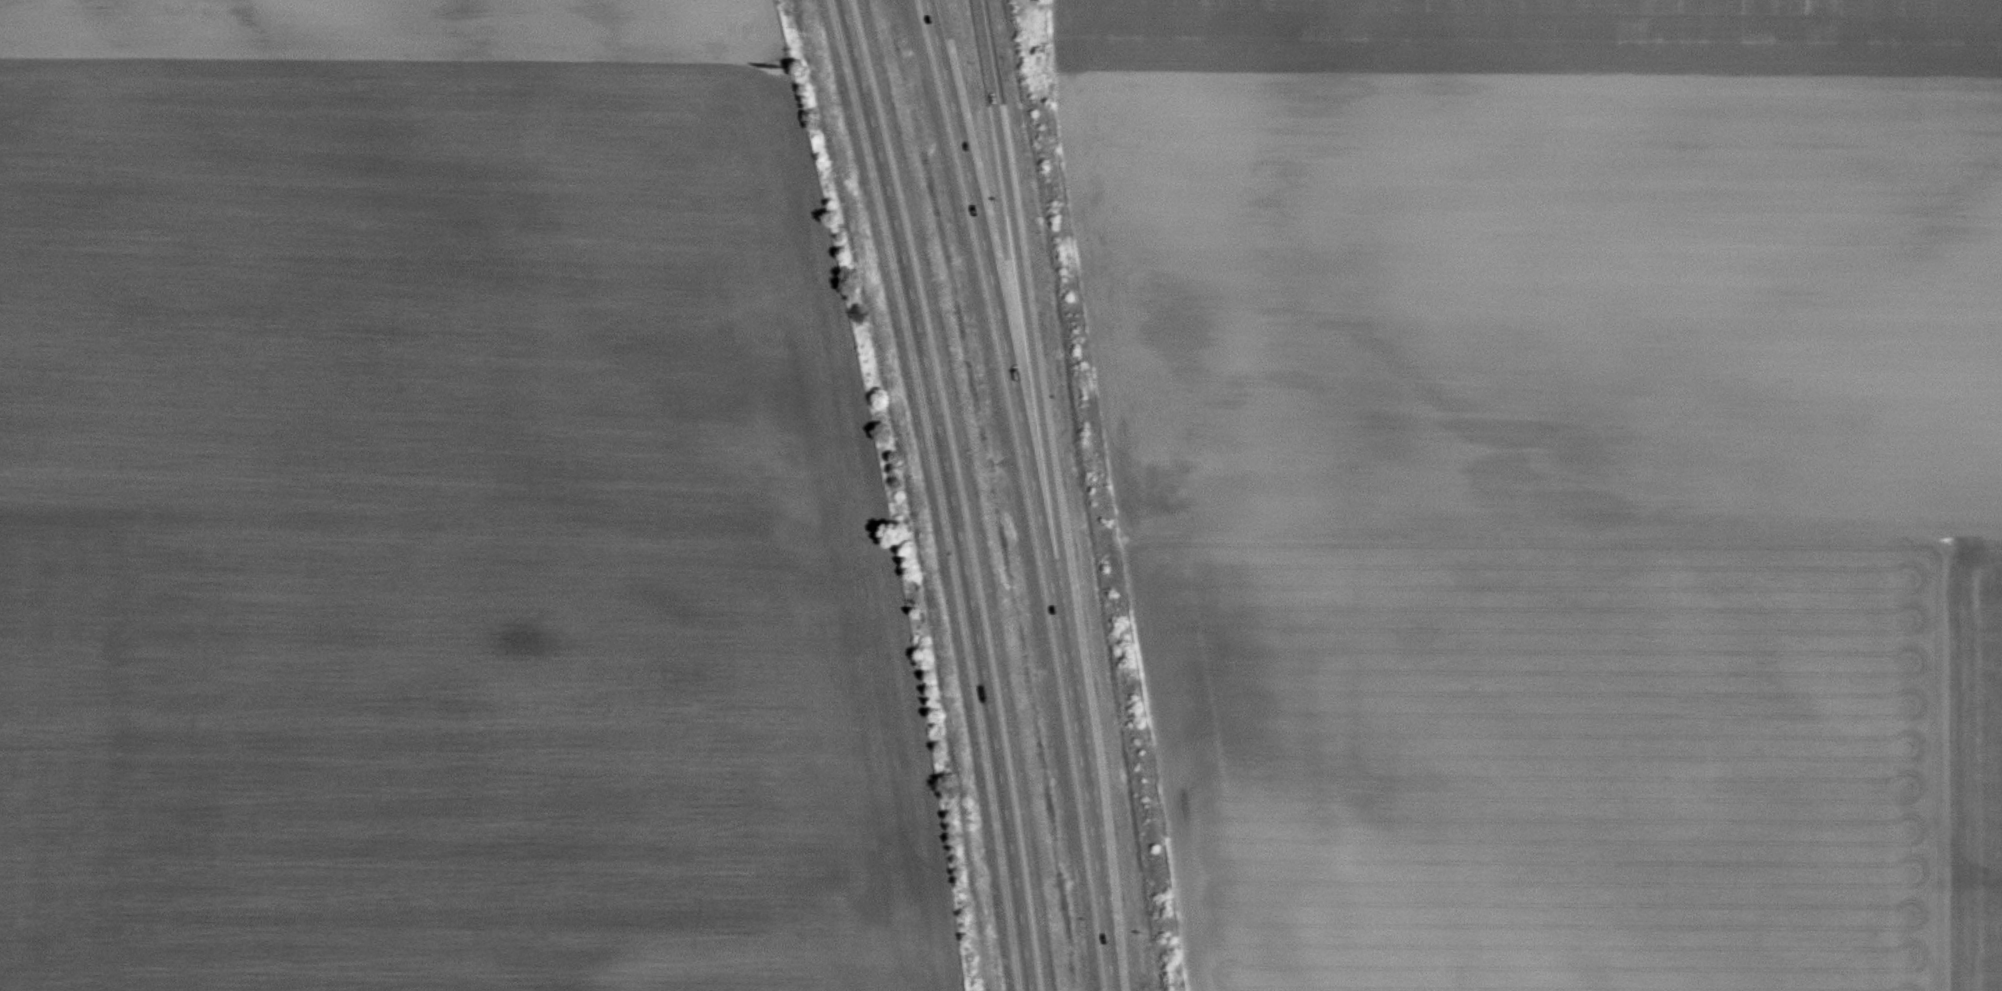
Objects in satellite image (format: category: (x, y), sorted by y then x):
road: (1014, 219)
road: (949, 492)
road: (1043, 492)

